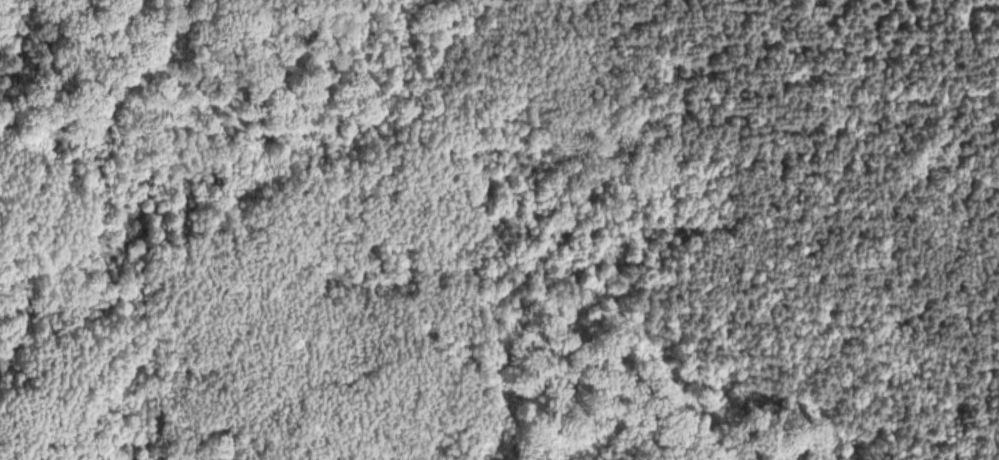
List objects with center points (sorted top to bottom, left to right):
road: (419, 330)

